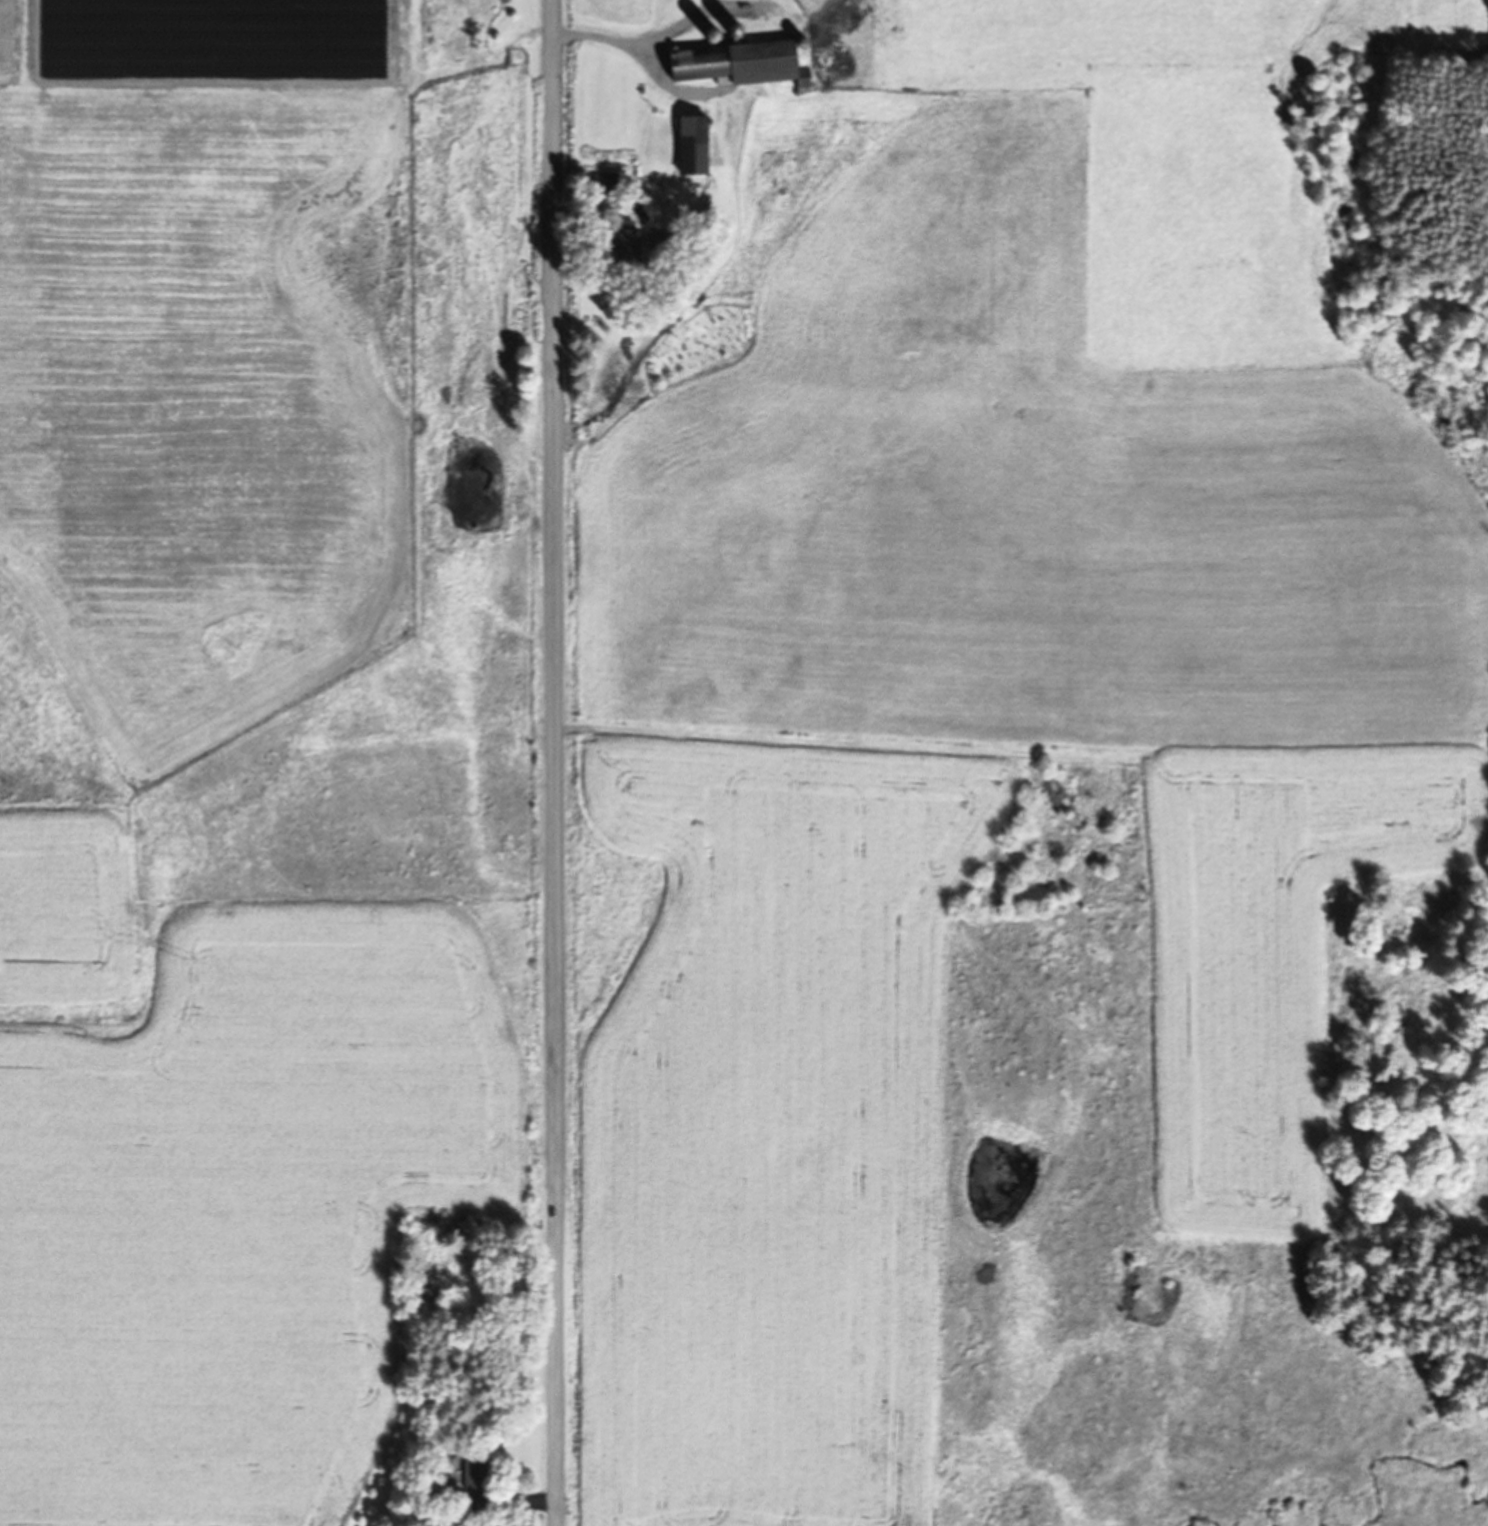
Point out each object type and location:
building: (729, 63)
building: (686, 145)
building: (600, 184)
building: (622, 242)
road: (553, 762)
building: (470, 1483)

